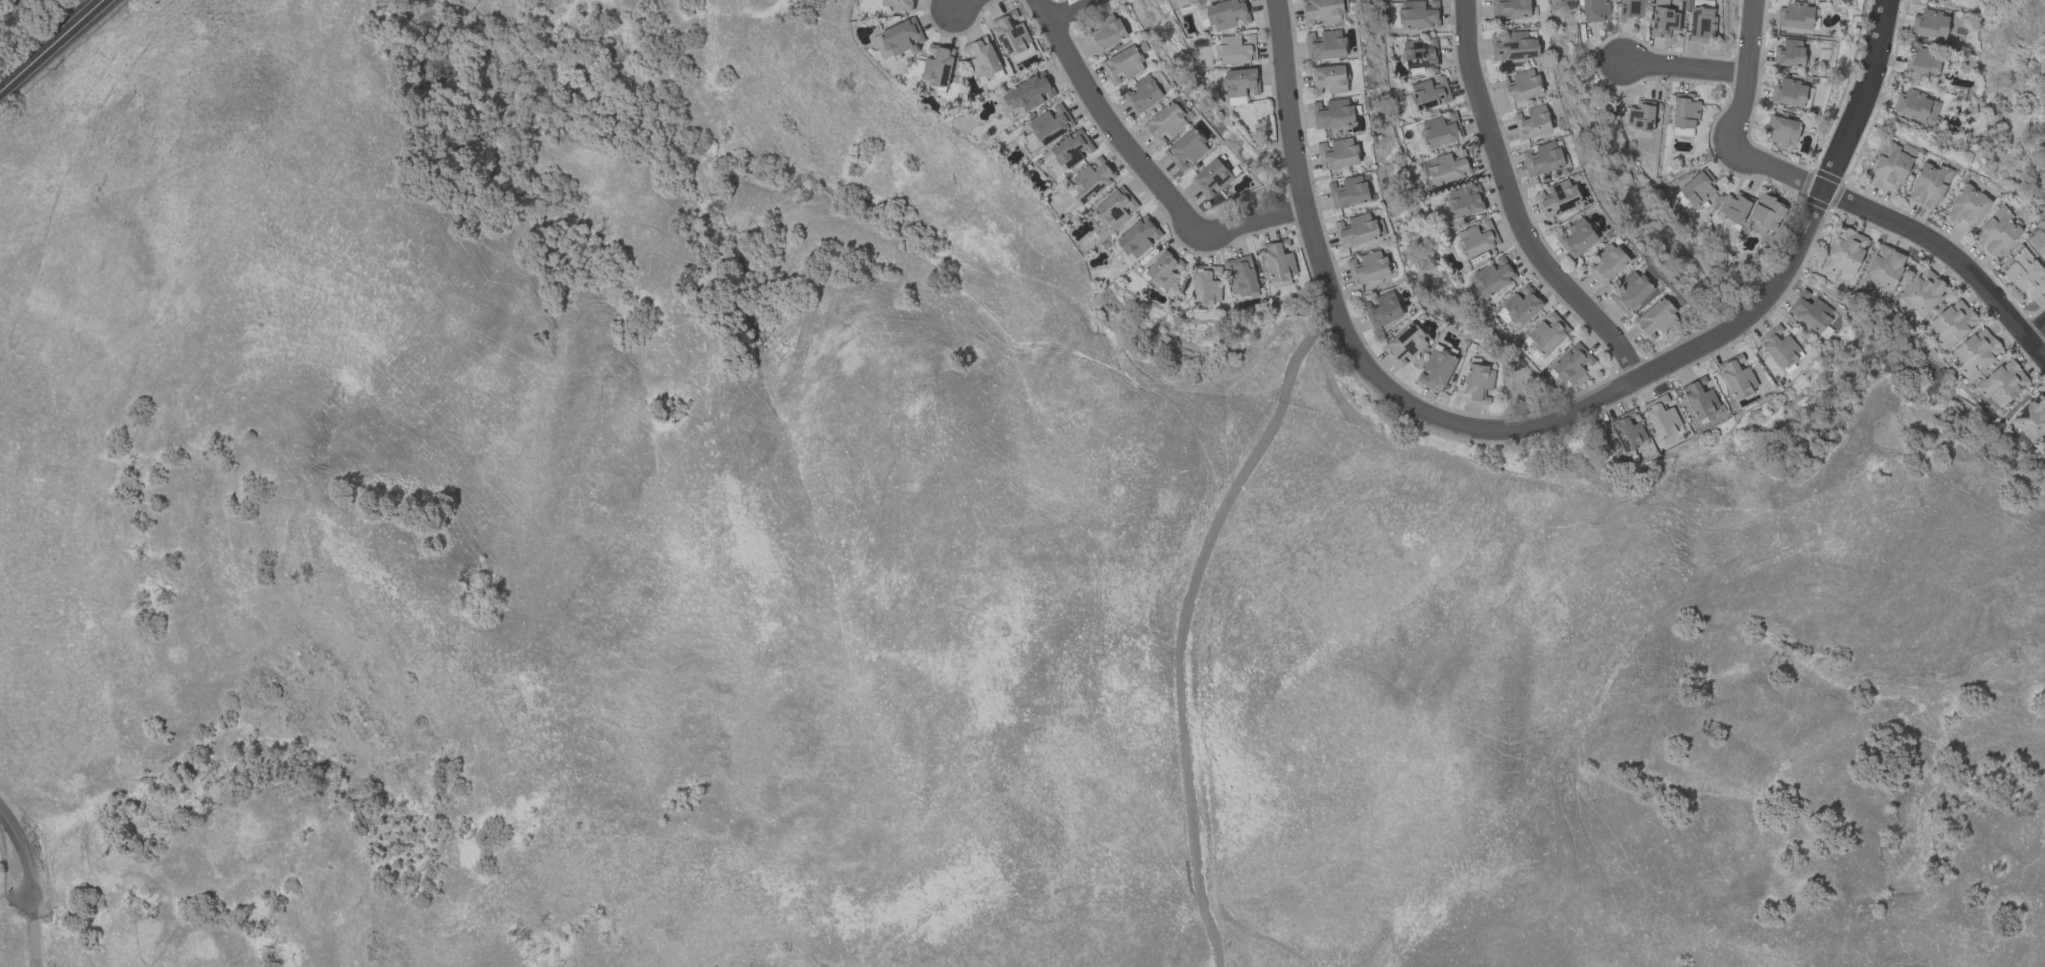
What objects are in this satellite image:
building: (1947, 0)
building: (897, 4)
road: (962, 4)
road: (1065, 9)
building: (1509, 9)
building: (1630, 10)
building: (1594, 11)
building: (1321, 12)
building: (1227, 14)
building: (1418, 14)
building: (1796, 15)
building: (1201, 18)
building: (1663, 20)
building: (1930, 24)
building: (1701, 25)
building: (1010, 33)
building: (1104, 33)
building: (897, 38)
building: (1324, 45)
road: (52, 46)
building: (1514, 47)
building: (1235, 49)
building: (1420, 53)
building: (1789, 54)
building: (980, 58)
building: (1922, 63)
building: (936, 66)
building: (1122, 66)
road: (1685, 66)
building: (1329, 79)
building: (1240, 83)
building: (1520, 86)
building: (1028, 93)
building: (1429, 93)
building: (1788, 93)
building: (1142, 94)
building: (1915, 106)
building: (1685, 111)
building: (1332, 114)
building: (1640, 116)
building: (1532, 122)
building: (1164, 123)
road: (1733, 123)
building: (1050, 124)
building: (1440, 130)
building: (1782, 130)
building: (1186, 150)
building: (1068, 151)
building: (1337, 154)
building: (1542, 159)
road: (1141, 163)
building: (1448, 167)
building: (1890, 167)
building: (1211, 178)
building: (1091, 180)
building: (1928, 186)
building: (1698, 188)
building: (1347, 192)
building: (1557, 198)
building: (1464, 201)
road: (1514, 207)
building: (1734, 207)
building: (1115, 208)
building: (1965, 208)
building: (1765, 214)
road: (1807, 223)
building: (1996, 233)
building: (1138, 237)
building: (1576, 238)
building: (1476, 239)
building: (2037, 239)
building: (1844, 252)
road: (1947, 254)
building: (1279, 263)
building: (1606, 264)
building: (1366, 268)
building: (1882, 269)
building: (1162, 270)
building: (2024, 274)
building: (1241, 275)
building: (1493, 276)
building: (1206, 285)
building: (1630, 292)
building: (1923, 292)
building: (1522, 306)
building: (1382, 309)
building: (1811, 314)
building: (1655, 320)
building: (1952, 323)
road: (2036, 329)
road: (1345, 332)
building: (1547, 334)
building: (1405, 345)
building: (1780, 347)
building: (1976, 352)
building: (1571, 364)
building: (1436, 369)
building: (1737, 377)
building: (1478, 383)
building: (2001, 384)
building: (1699, 399)
building: (1661, 416)
building: (2031, 418)
building: (1627, 432)
road: (1184, 622)
road: (27, 887)
road: (13, 896)

